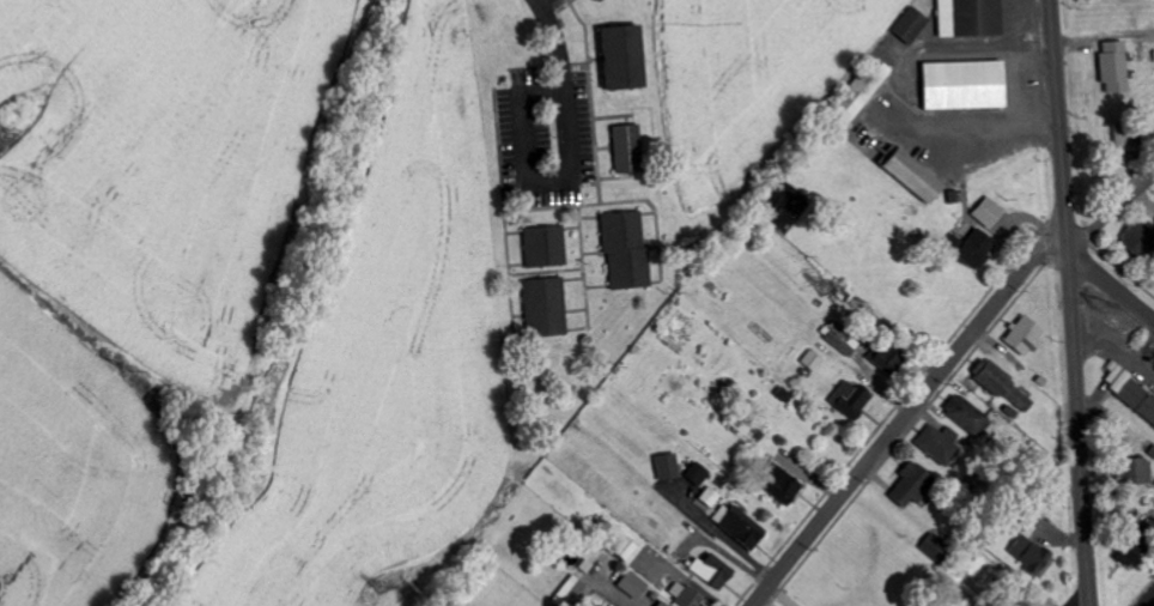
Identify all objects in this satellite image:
building: (593, 0)
building: (597, 0)
building: (966, 17)
building: (907, 24)
road: (1103, 36)
road: (553, 43)
building: (621, 56)
building: (1111, 66)
building: (961, 85)
building: (856, 92)
building: (1123, 145)
building: (625, 149)
building: (910, 175)
road: (529, 187)
building: (985, 212)
road: (1111, 212)
building: (1136, 236)
building: (542, 247)
building: (974, 249)
building: (624, 252)
road: (1109, 281)
road: (1070, 302)
building: (543, 308)
building: (1021, 335)
building: (809, 362)
building: (1001, 386)
building: (850, 399)
building: (1136, 401)
building: (966, 416)
road: (901, 418)
building: (937, 444)
building: (666, 467)
building: (1132, 471)
building: (696, 474)
building: (778, 484)
building: (909, 484)
building: (707, 498)
road: (865, 525)
building: (736, 526)
building: (931, 545)
building: (1131, 545)
building: (621, 549)
building: (1031, 556)
building: (709, 571)
building: (631, 584)
building: (682, 596)
building: (1014, 596)
road: (1149, 600)
building: (660, 604)

